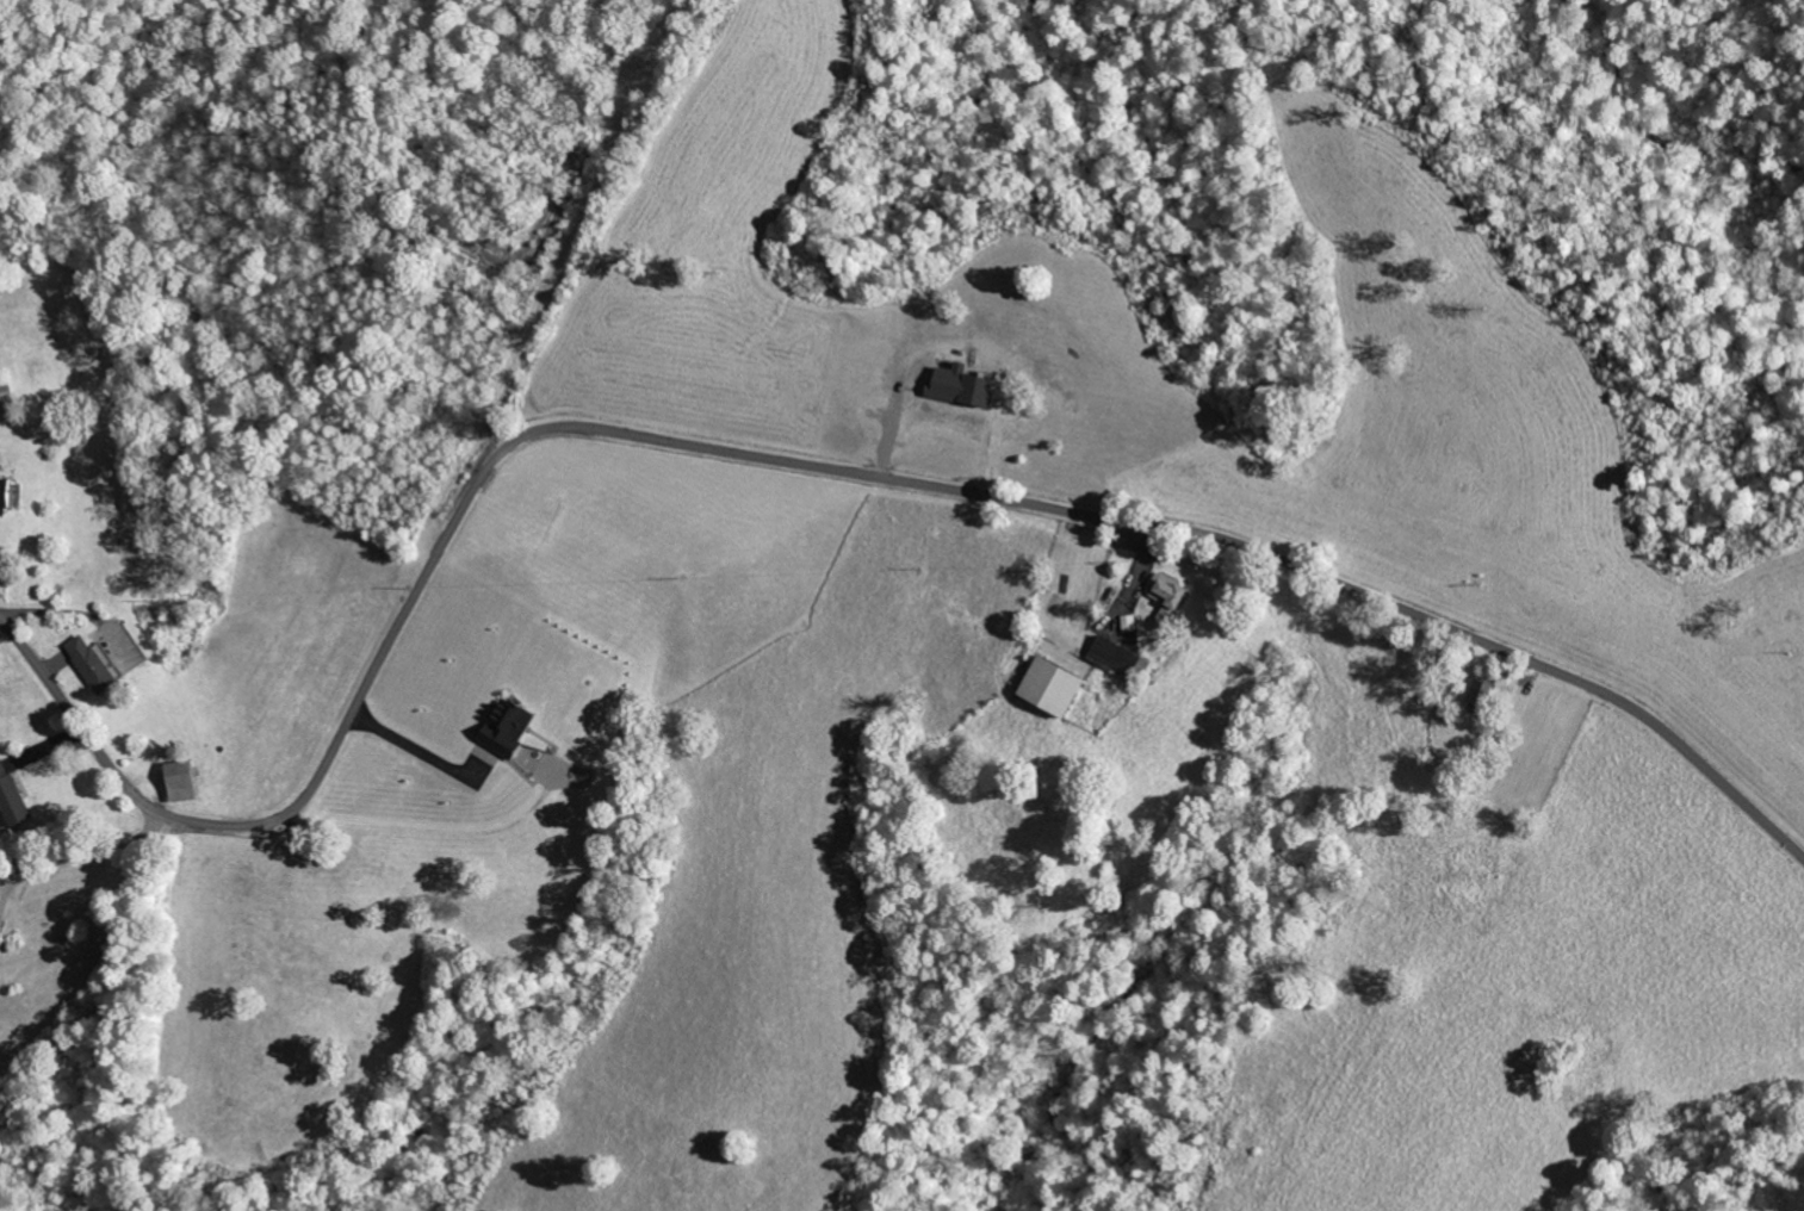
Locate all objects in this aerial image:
building: (8, 386)
building: (965, 386)
road: (796, 464)
building: (11, 495)
building: (1168, 600)
building: (1129, 623)
building: (1116, 657)
building: (93, 664)
building: (1056, 687)
building: (1483, 693)
building: (512, 728)
building: (184, 782)
building: (12, 797)

